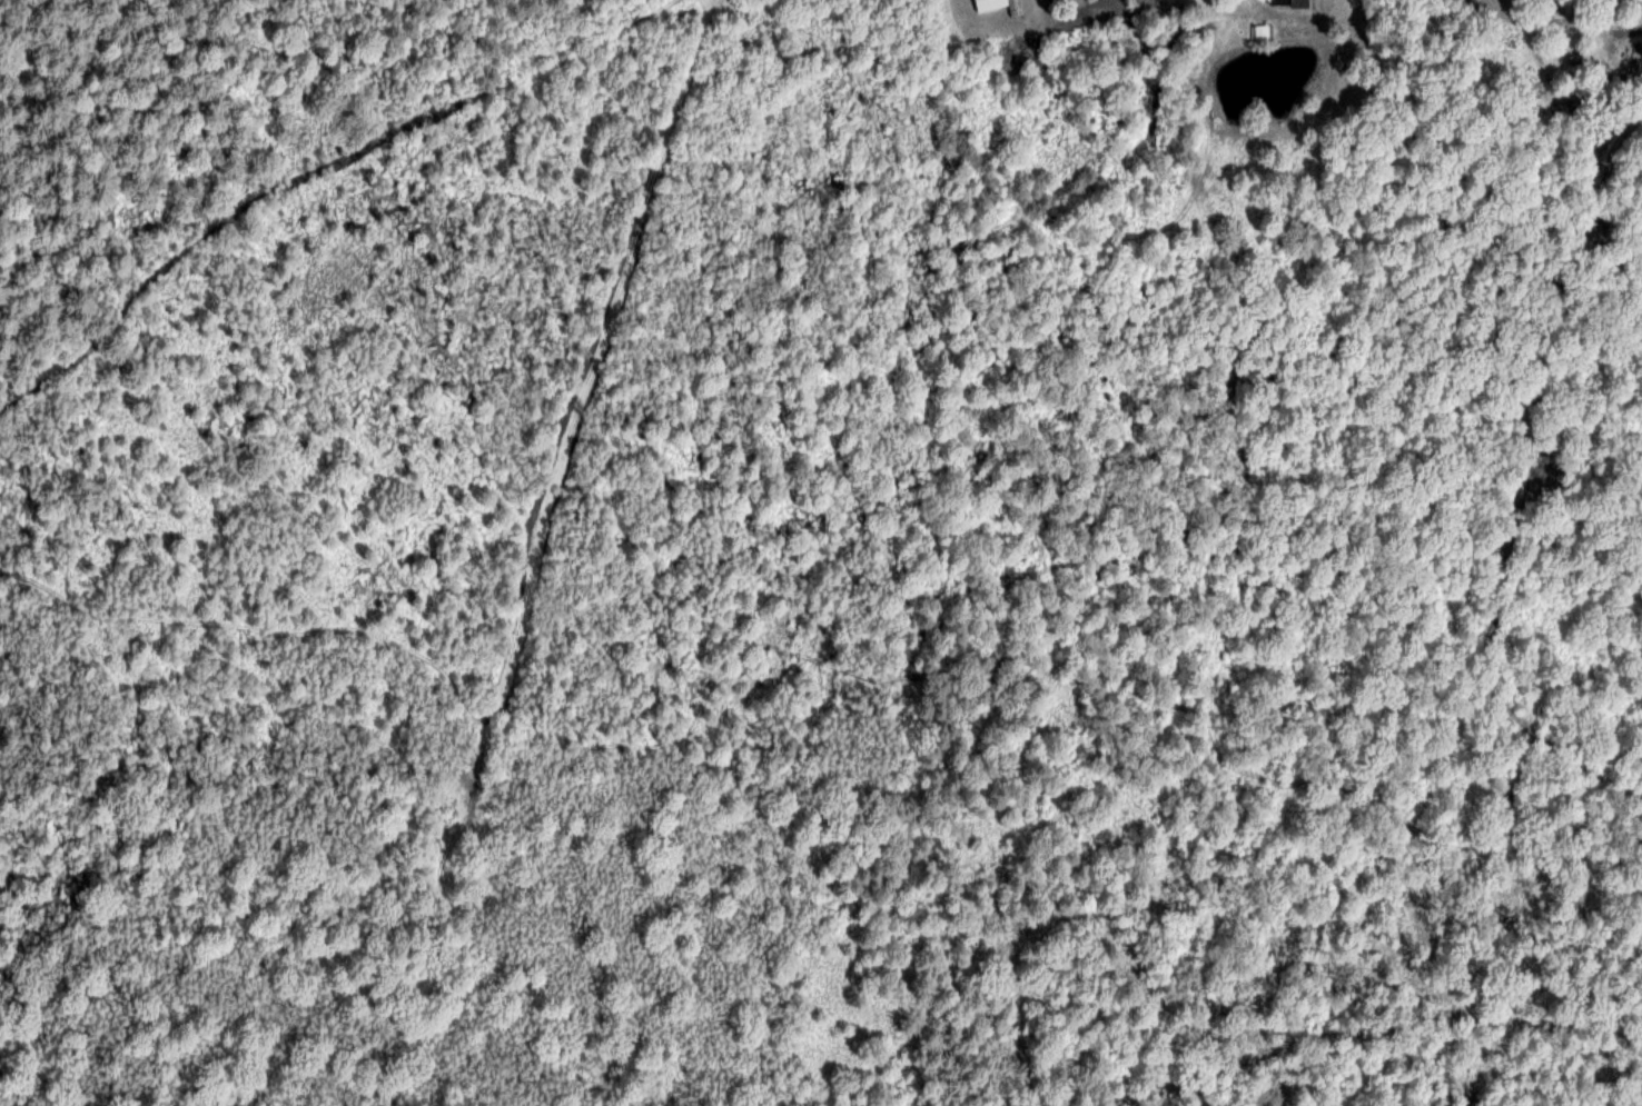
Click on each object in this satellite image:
building: (1287, 2)
building: (998, 6)

